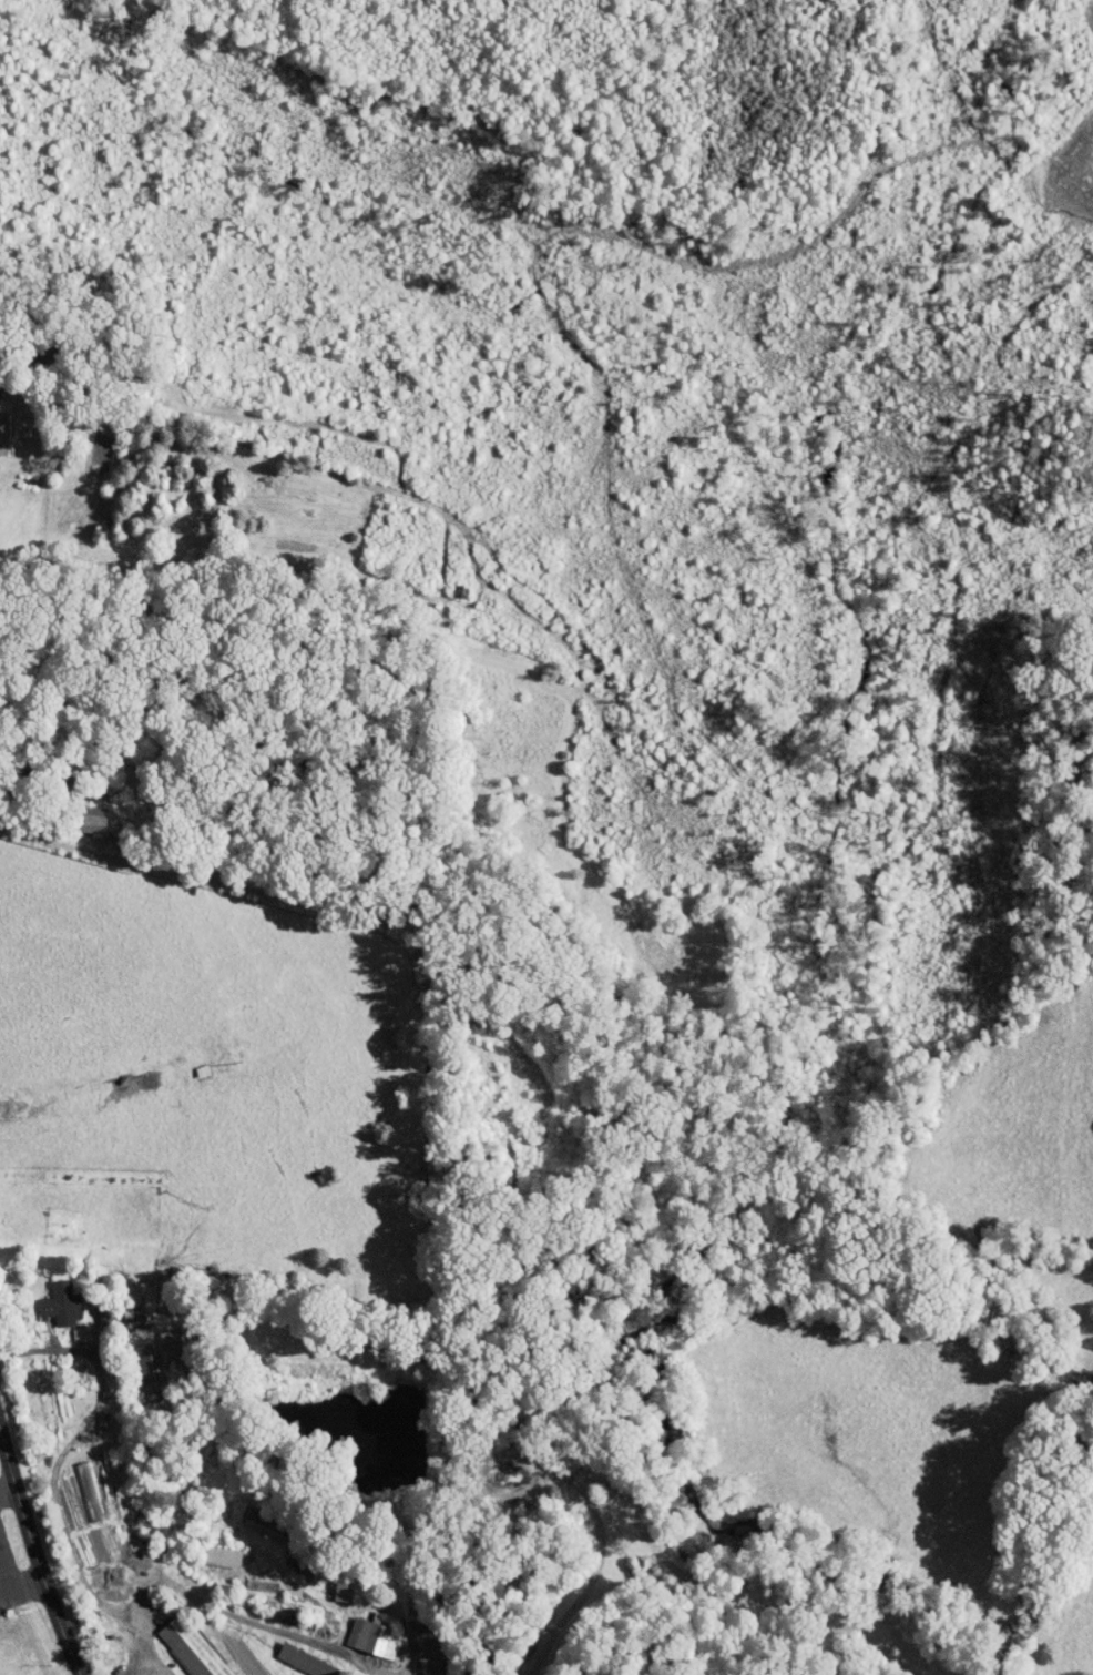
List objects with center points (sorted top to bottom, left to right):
building: (83, 813)
building: (49, 1296)
building: (124, 1314)
building: (157, 1342)
building: (133, 1363)
building: (255, 1516)
building: (211, 1550)
road: (31, 1569)
building: (249, 1578)
building: (331, 1584)
building: (361, 1627)
building: (183, 1643)
building: (420, 1648)
building: (294, 1655)

